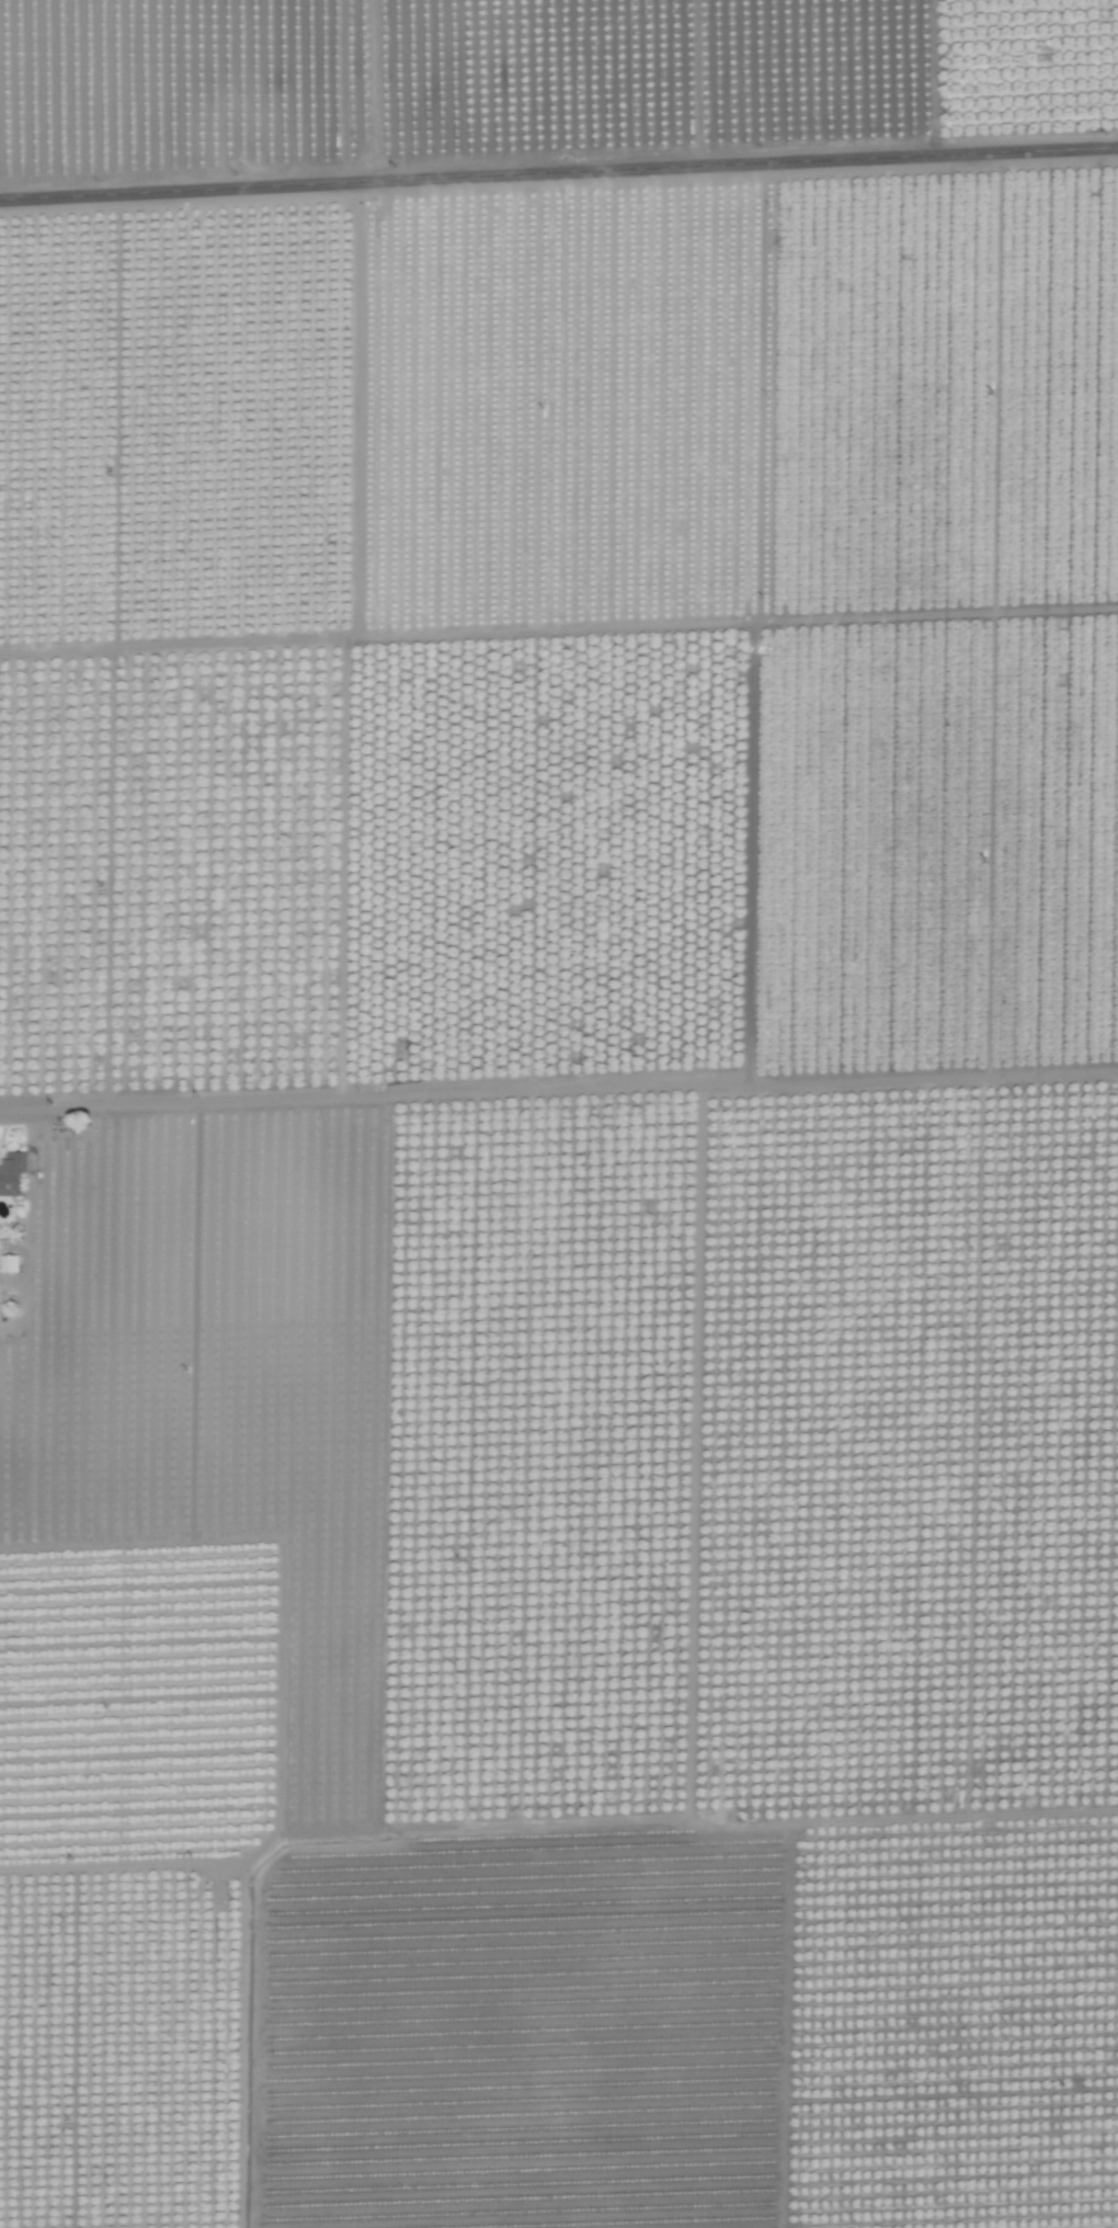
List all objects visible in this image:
road: (559, 178)
road: (558, 1090)
crop: (559, 1114)
building: (11, 1172)
road: (244, 1929)

